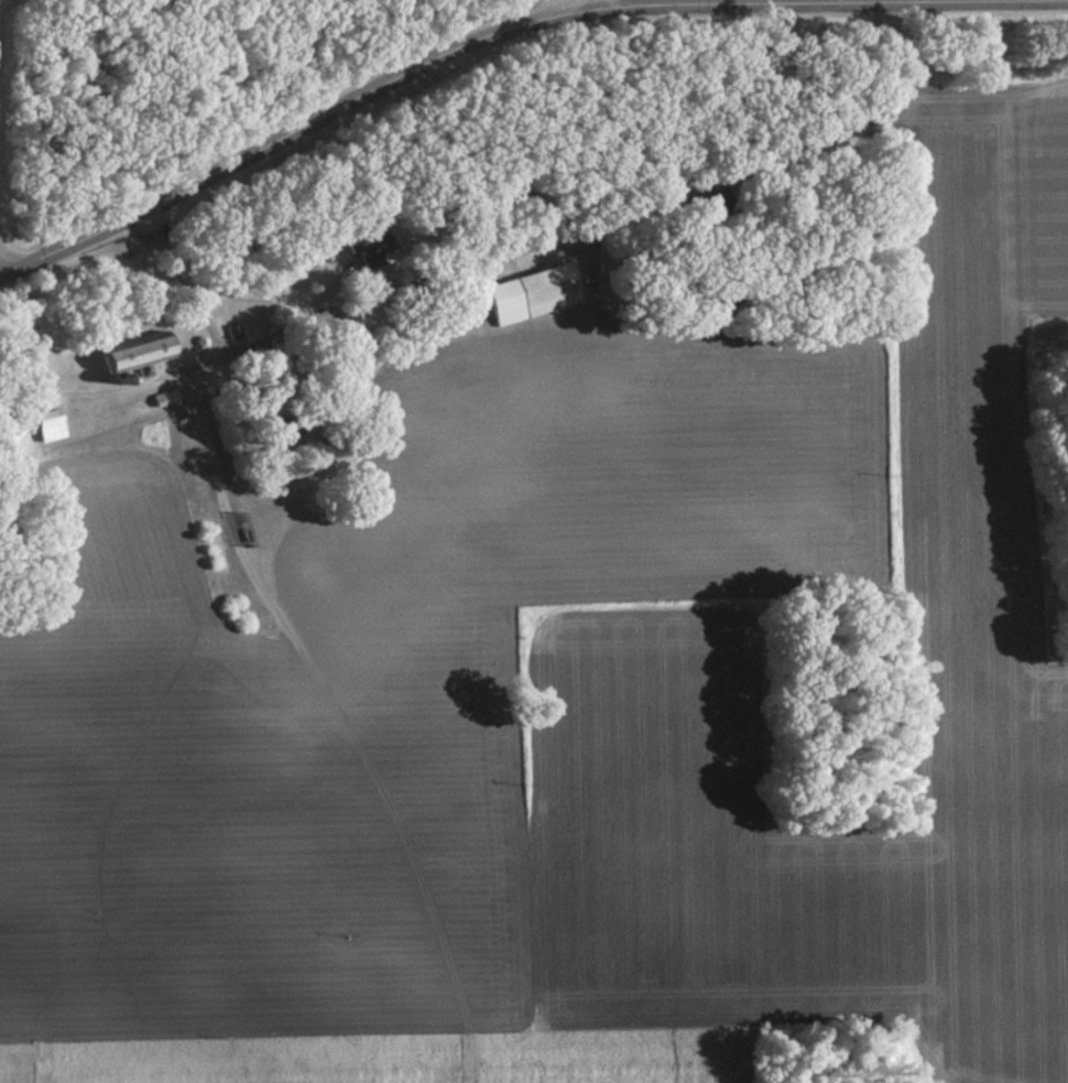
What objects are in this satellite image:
road: (566, 1)
road: (758, 1)
road: (353, 102)
road: (73, 242)
building: (372, 252)
road: (484, 259)
building: (535, 295)
building: (141, 353)
building: (284, 430)

